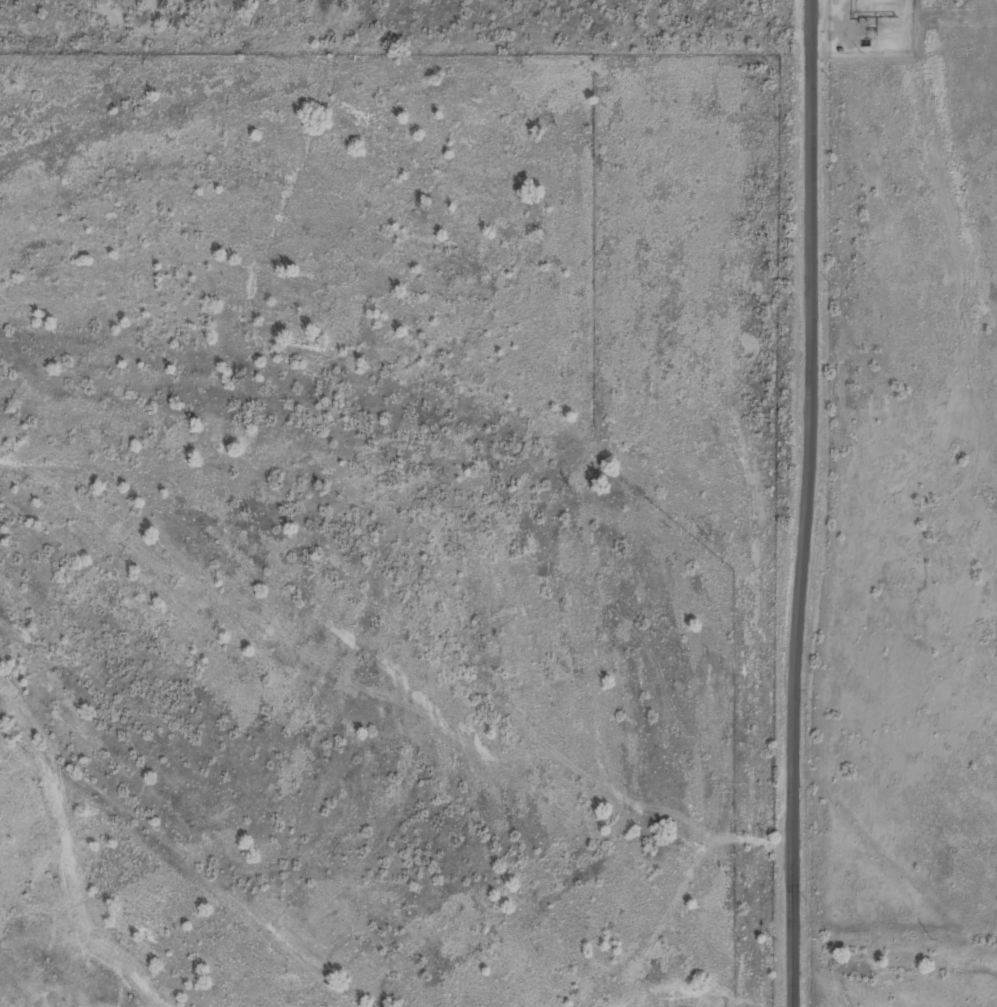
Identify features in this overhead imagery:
road: (810, 30)
road: (802, 534)

